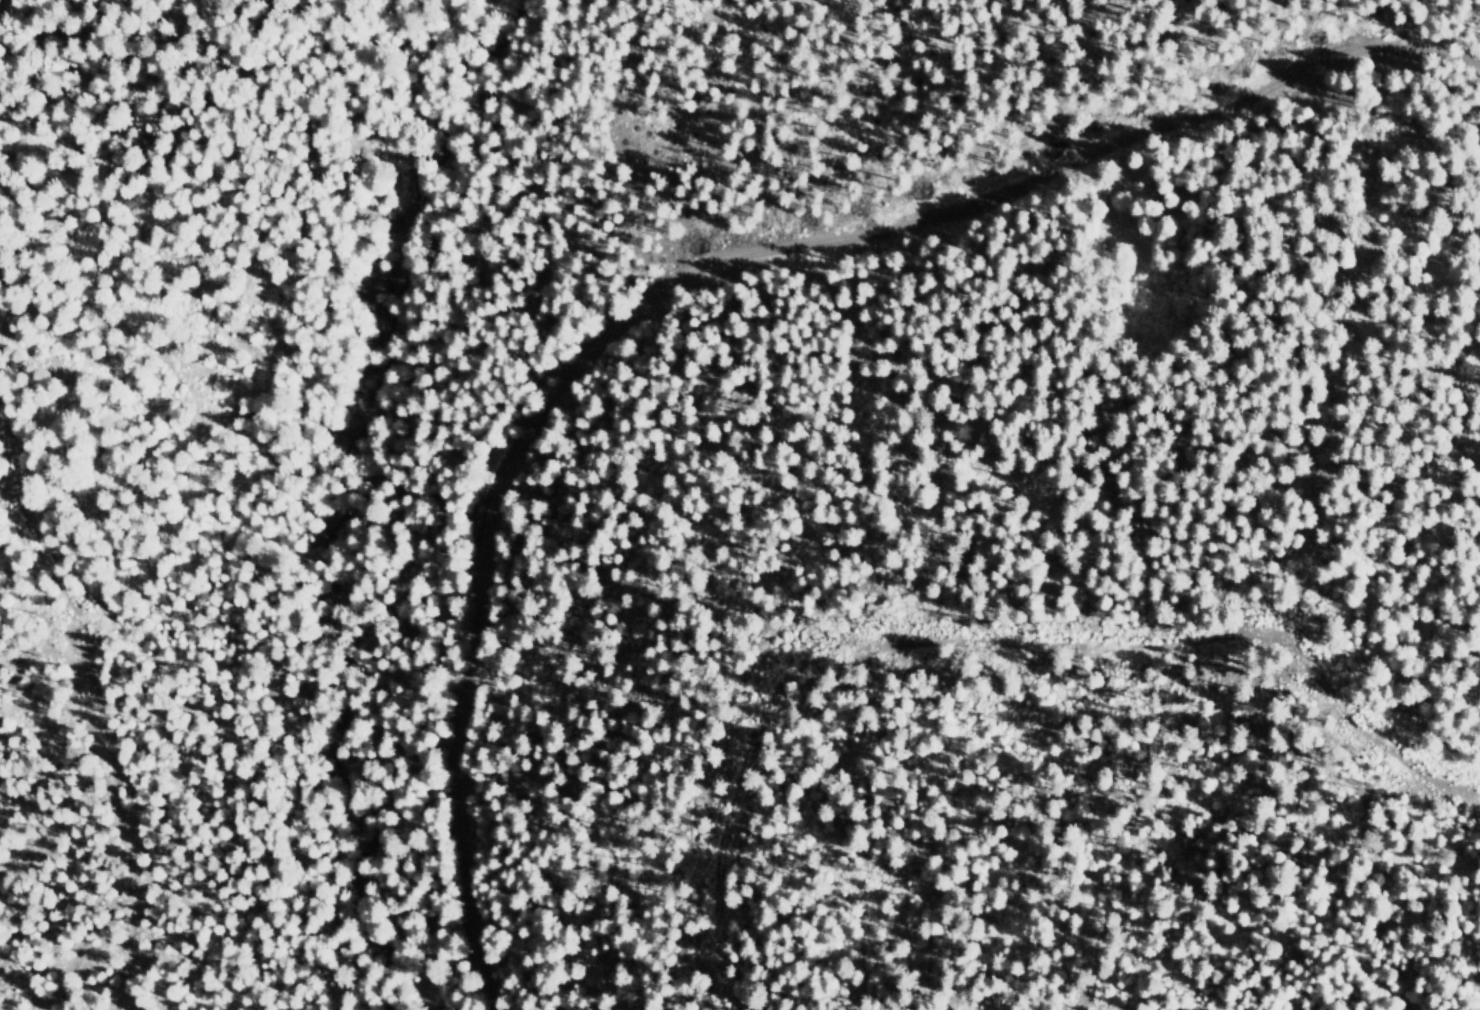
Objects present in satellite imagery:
road: (688, 272)

